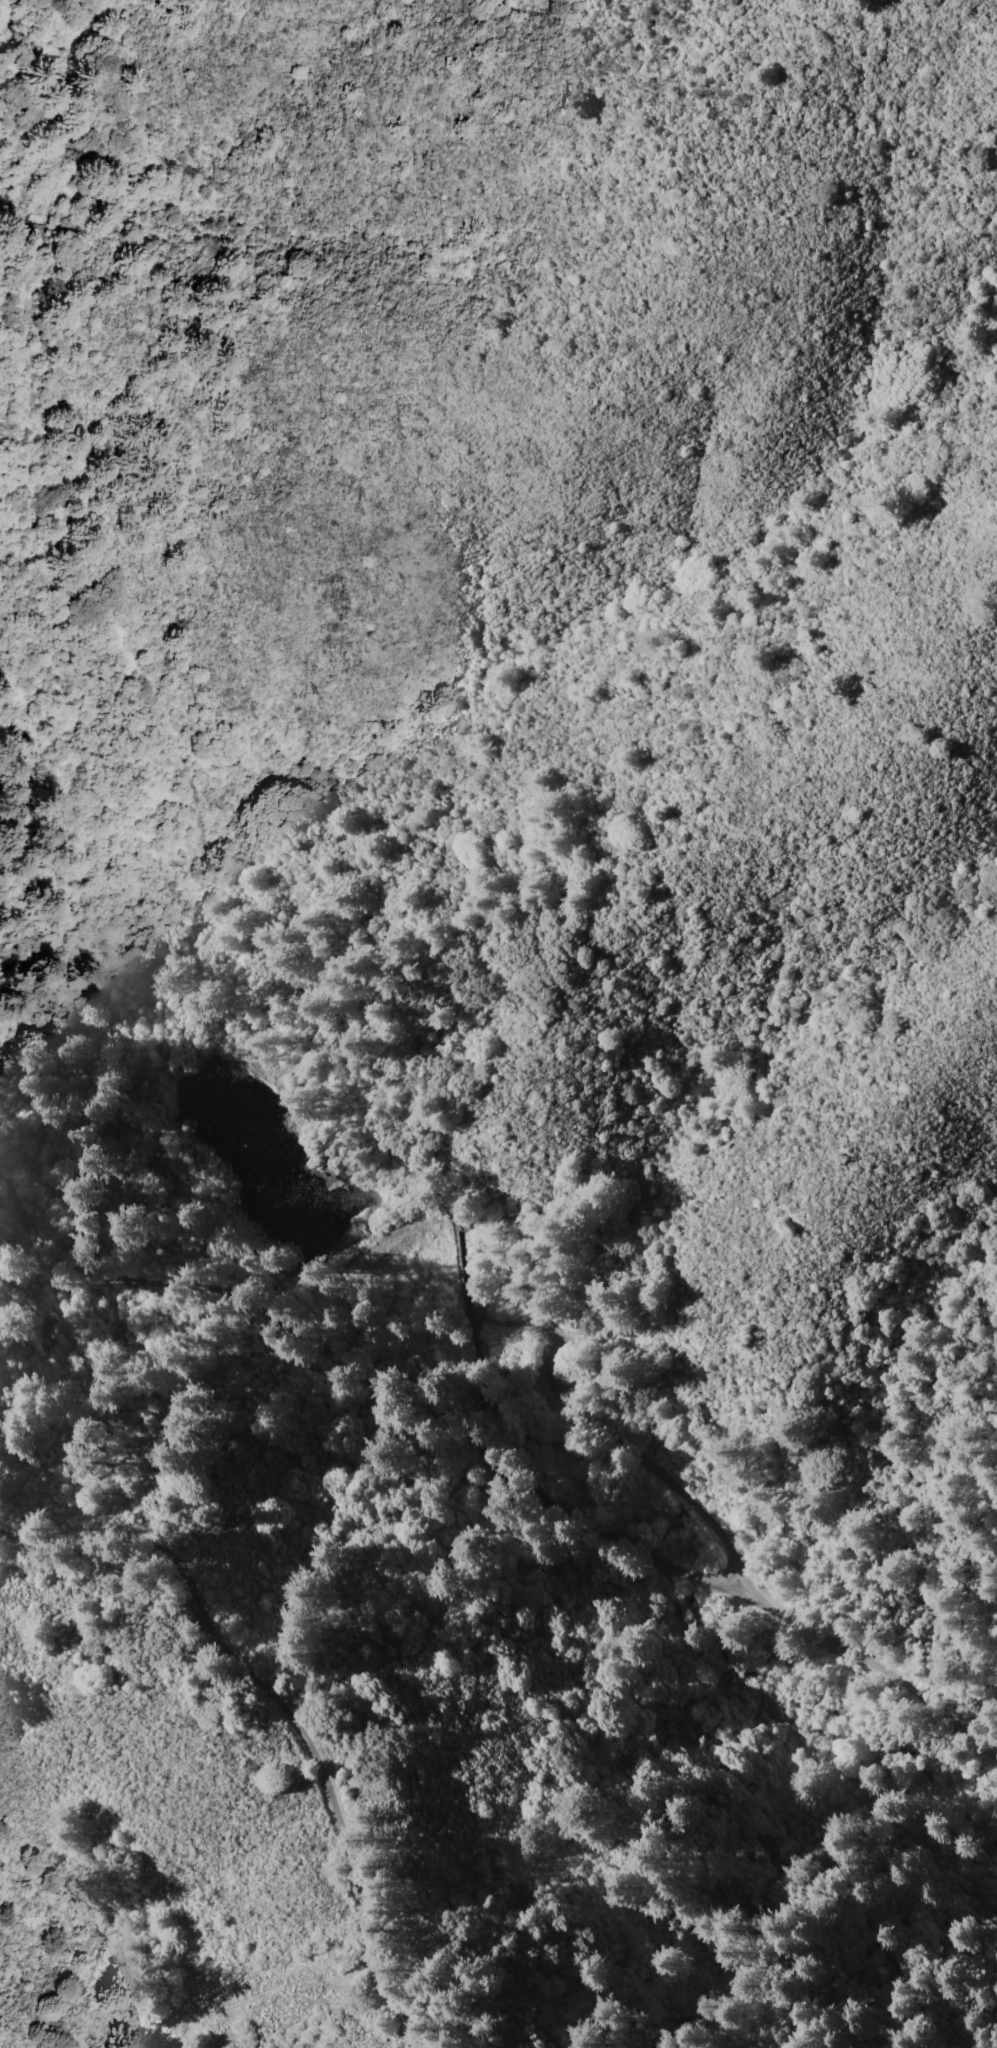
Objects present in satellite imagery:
dam: (368, 1240)
road: (88, 1269)
building: (476, 1311)
road: (625, 1448)
road: (854, 1655)
road: (281, 1711)

